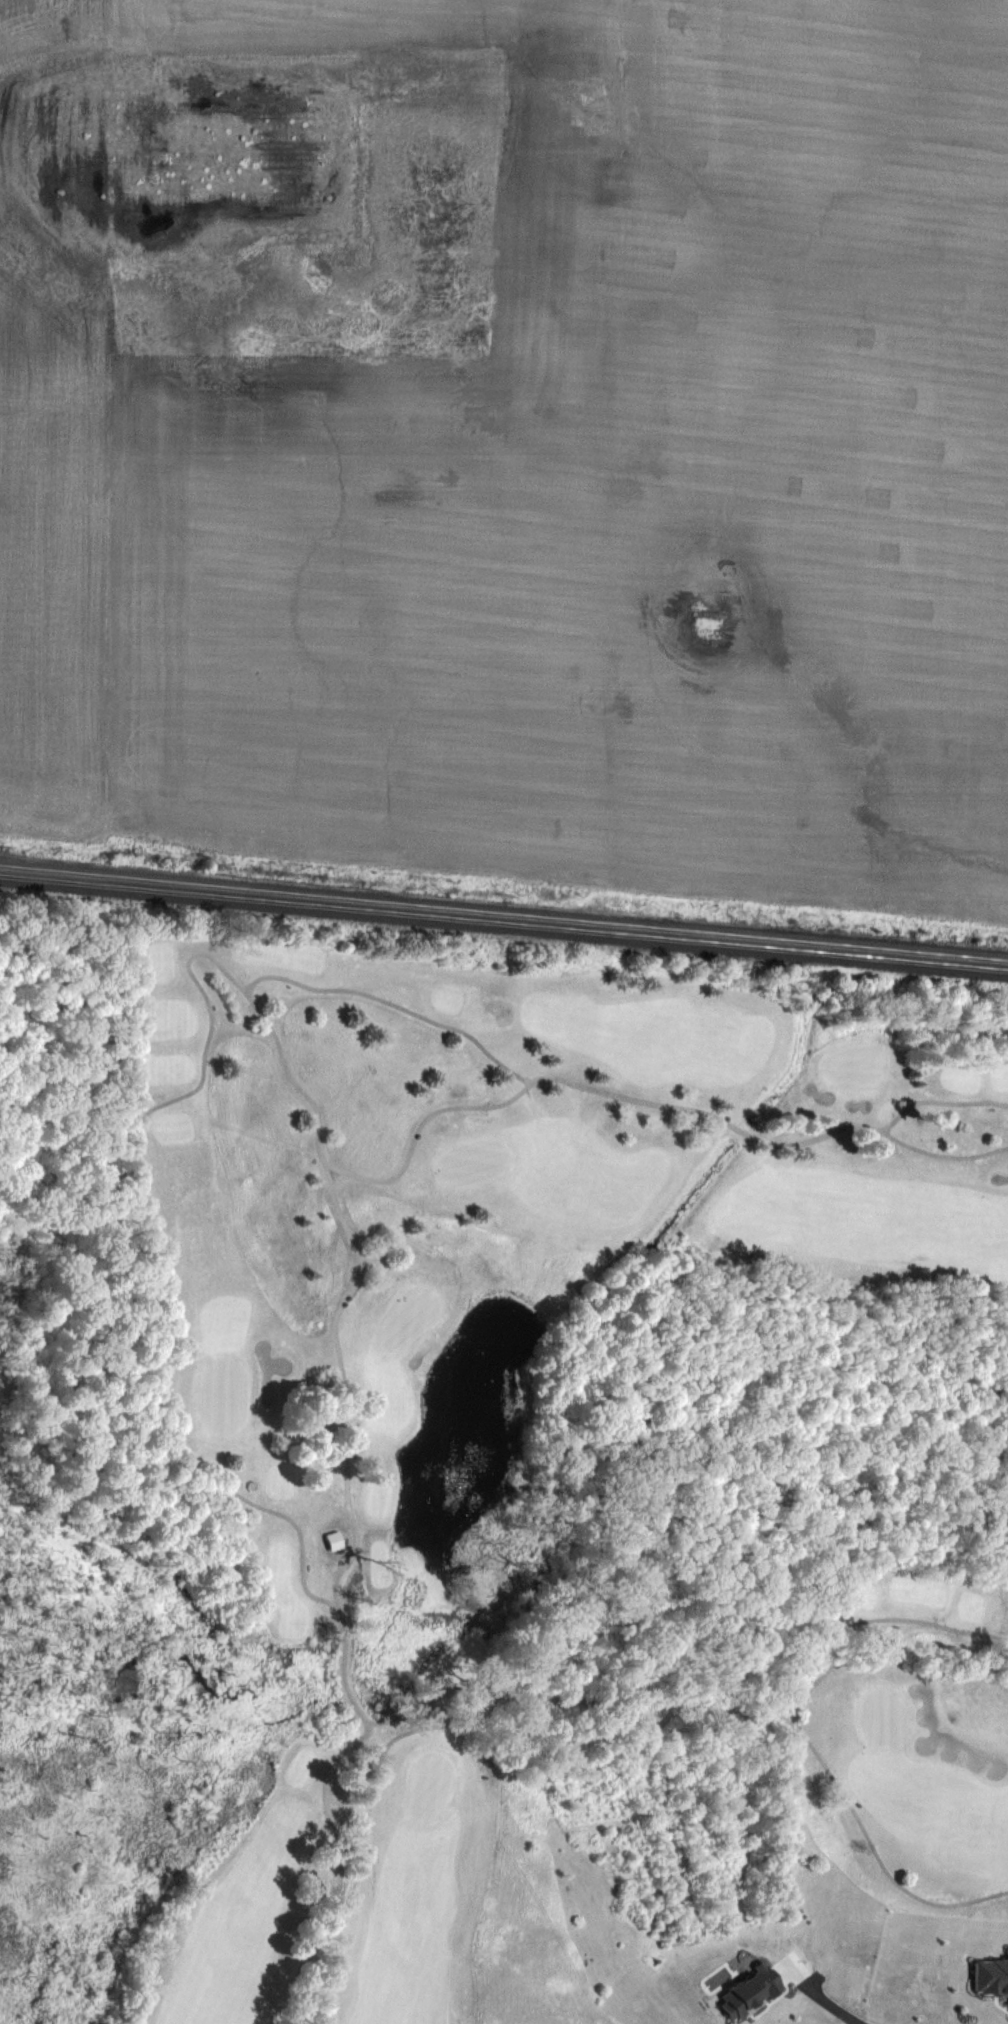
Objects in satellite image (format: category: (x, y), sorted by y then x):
railway: (504, 914)
railway: (504, 924)
road: (418, 1013)
road: (939, 1100)
road: (706, 1113)
road: (942, 1153)
road: (345, 1440)
building: (333, 1540)
road: (862, 1619)
road: (1001, 1635)
road: (626, 1704)
road: (448, 1720)
road: (326, 1780)
road: (872, 1841)
road: (318, 1941)
road: (831, 1997)

